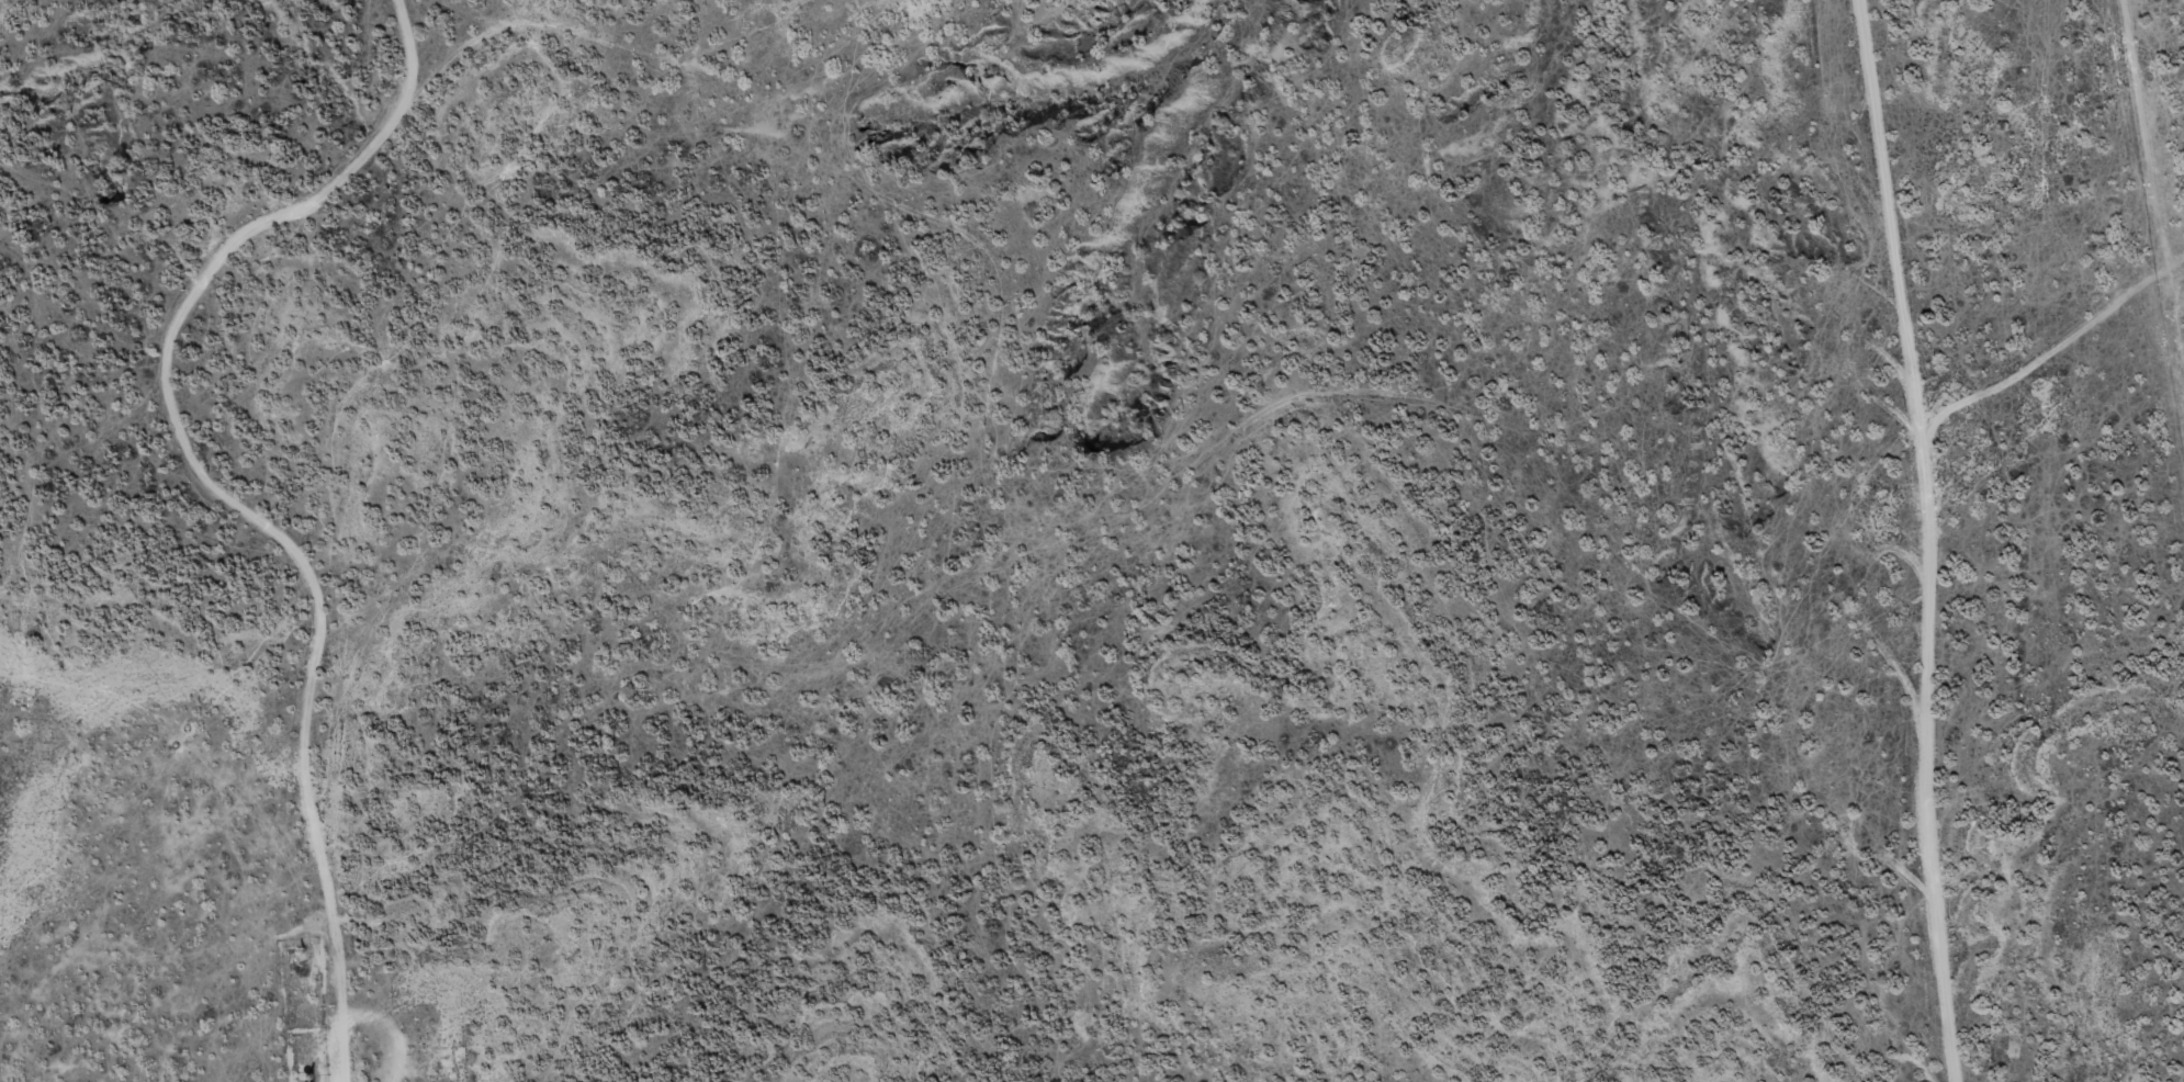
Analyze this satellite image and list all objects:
road: (1894, 540)

